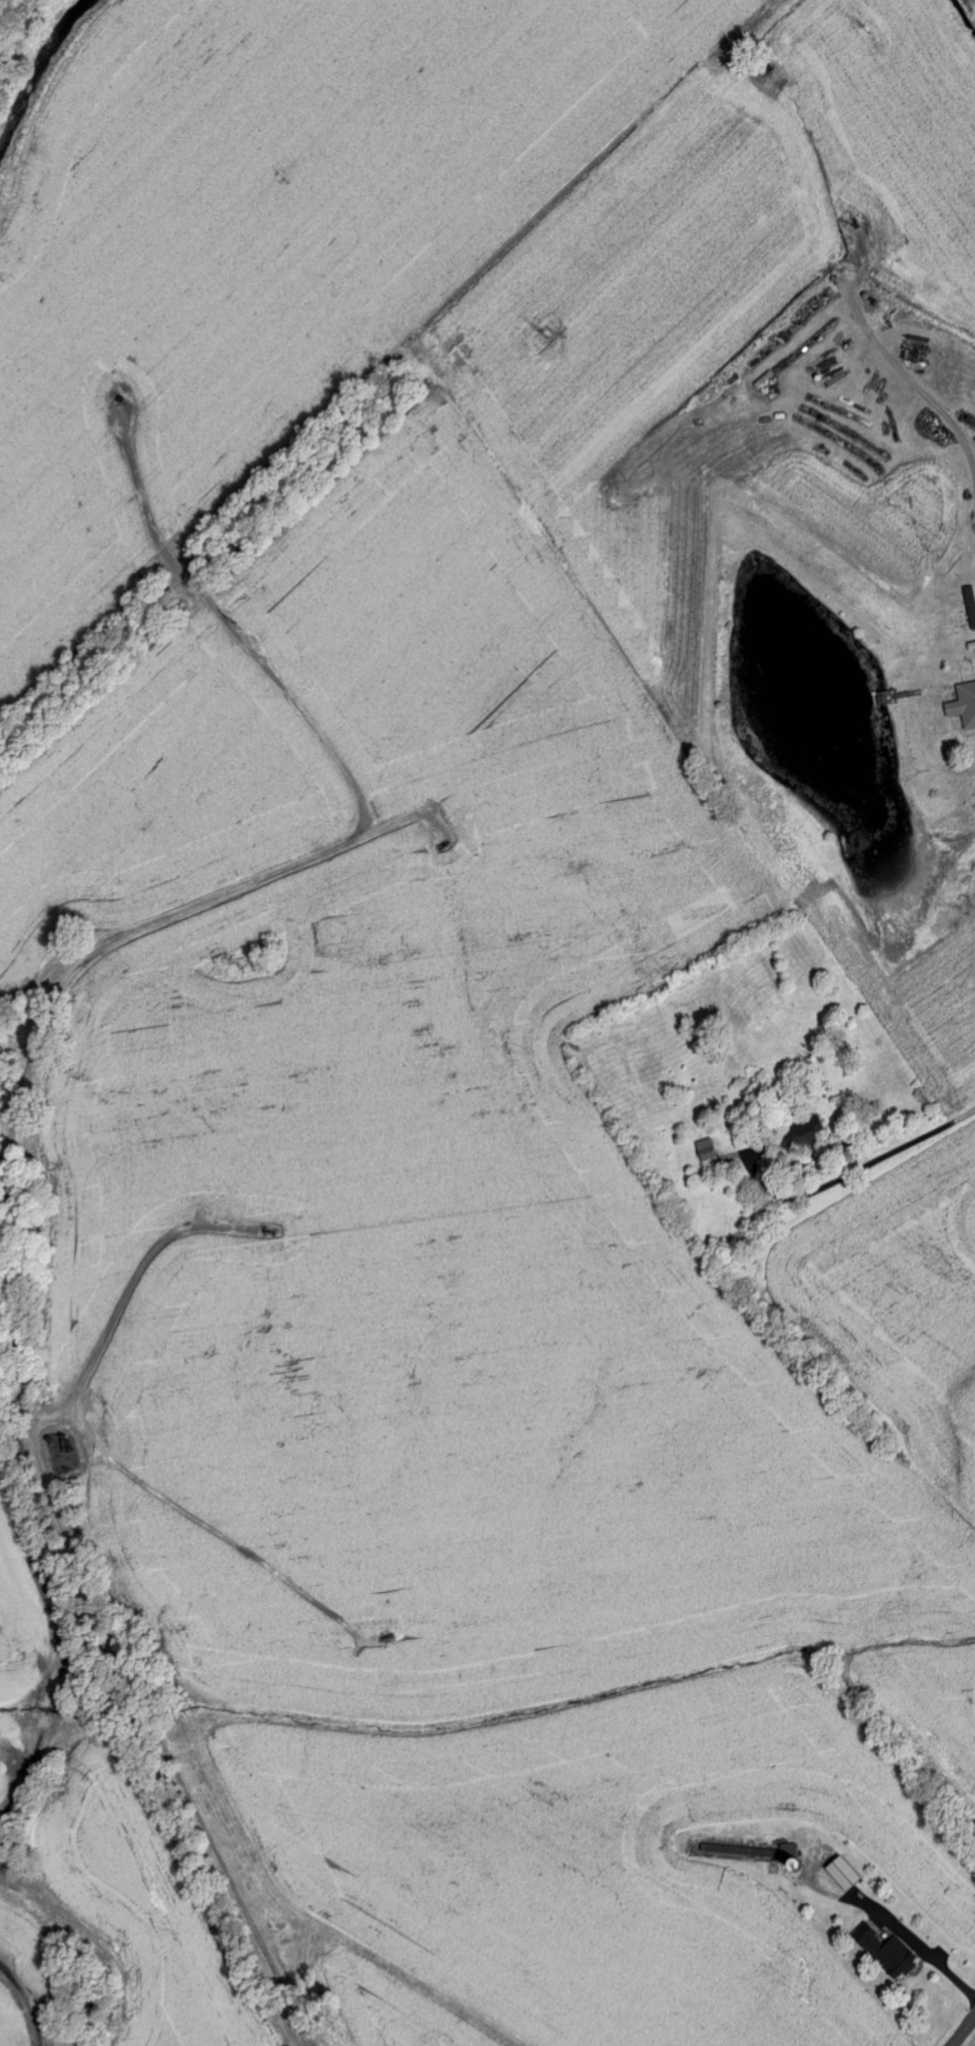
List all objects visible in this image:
building: (965, 705)
building: (807, 1135)
building: (710, 1154)
road: (861, 1160)
building: (792, 1853)
building: (846, 1873)
building: (889, 1951)
road: (964, 2032)

